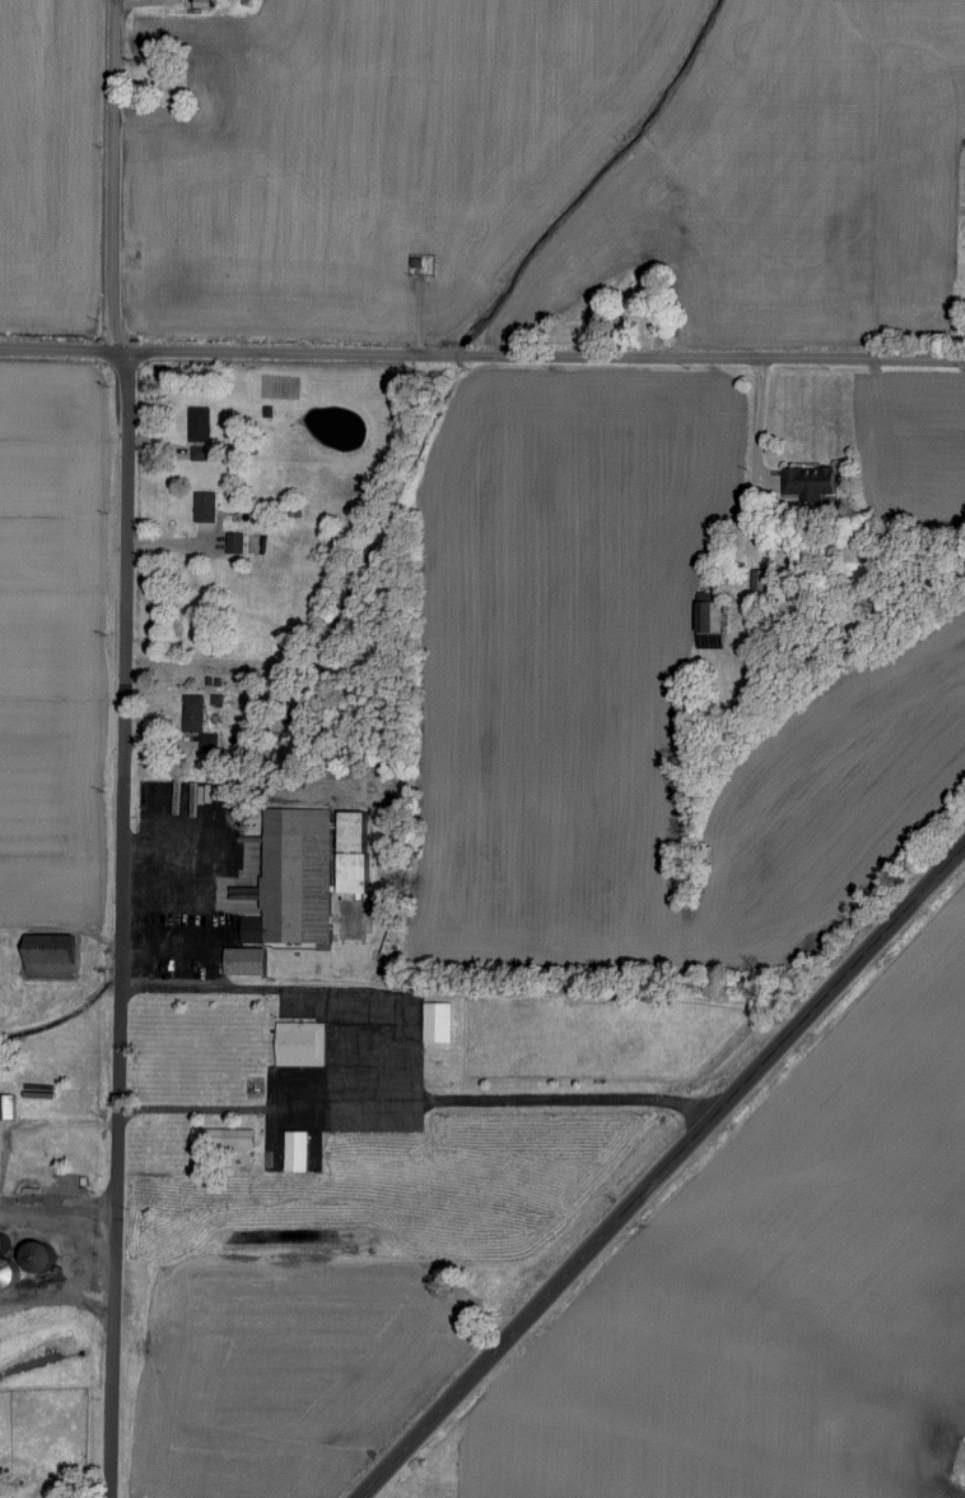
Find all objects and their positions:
building: (205, 3)
road: (114, 175)
road: (58, 350)
road: (122, 351)
road: (546, 356)
building: (202, 433)
road: (758, 441)
building: (813, 481)
building: (209, 507)
building: (238, 543)
building: (768, 585)
building: (714, 617)
building: (196, 714)
building: (211, 743)
road: (125, 780)
building: (310, 873)
building: (53, 956)
building: (248, 962)
building: (440, 1023)
building: (303, 1044)
road: (413, 1053)
building: (8, 1106)
road: (38, 1131)
building: (227, 1138)
building: (299, 1150)
road: (661, 1171)
road: (57, 1208)
building: (42, 1257)
building: (10, 1272)
road: (113, 1353)

